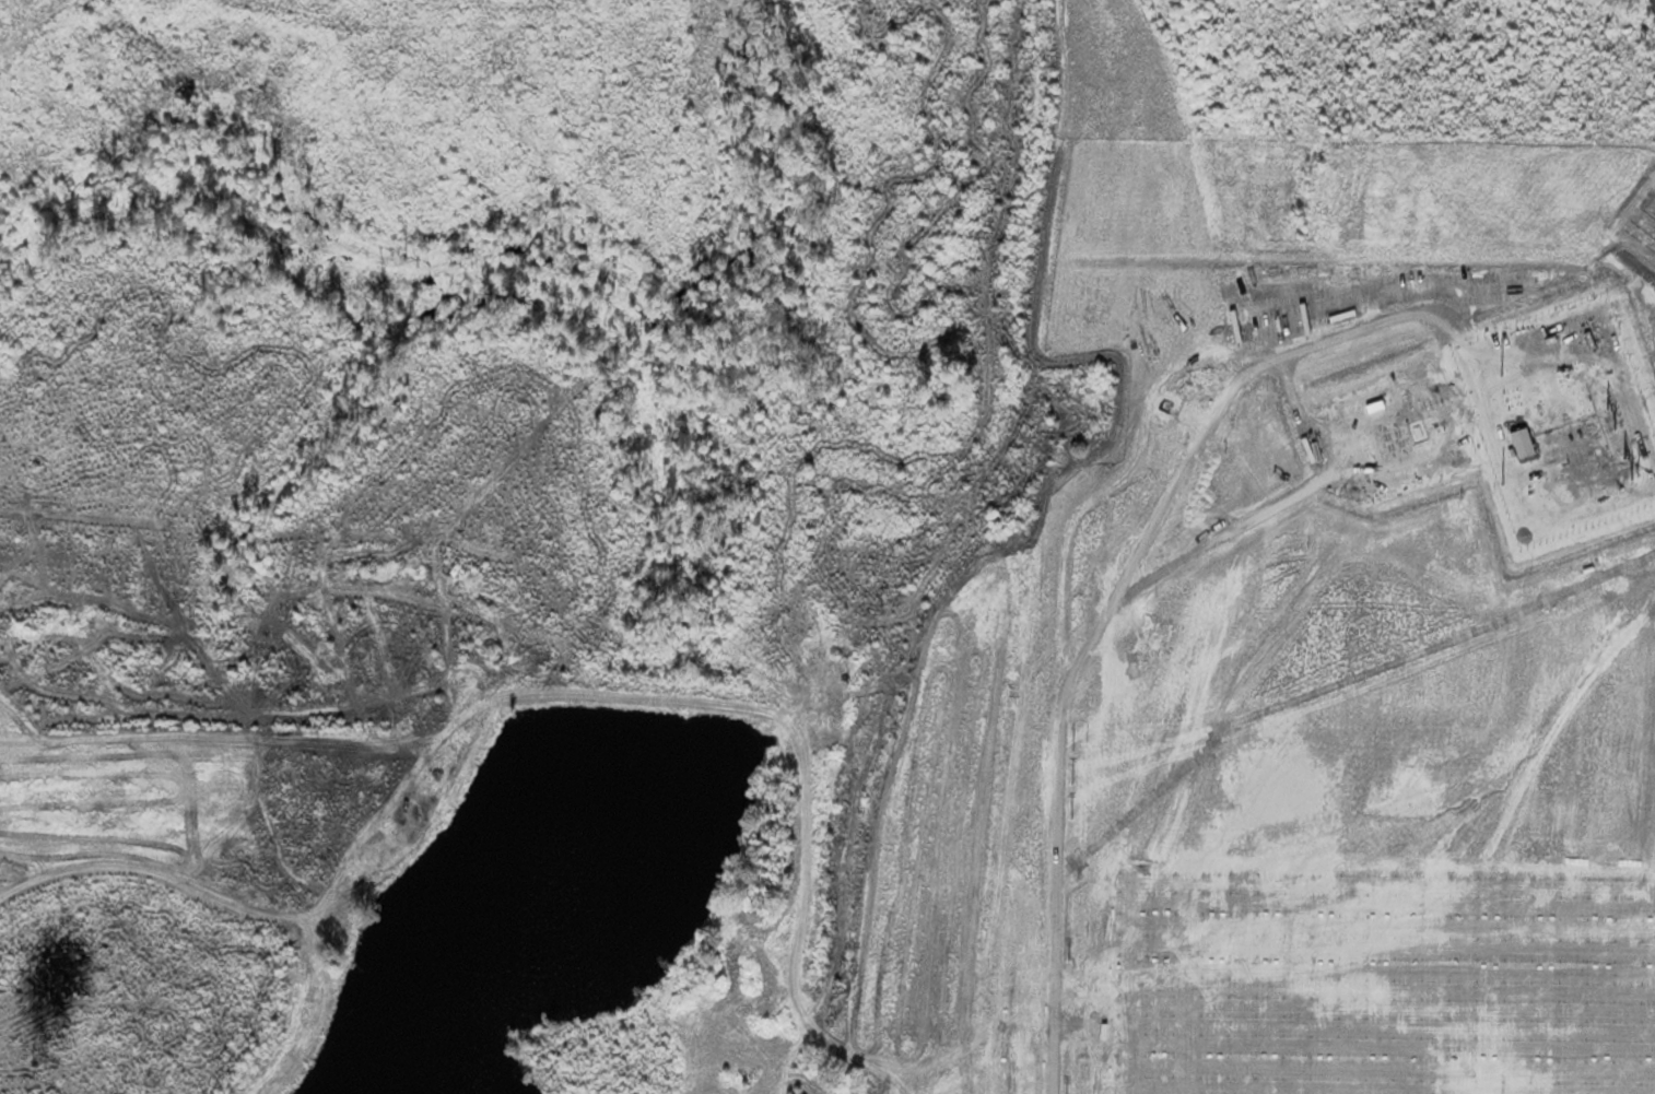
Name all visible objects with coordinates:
solar farm: (923, 965)

